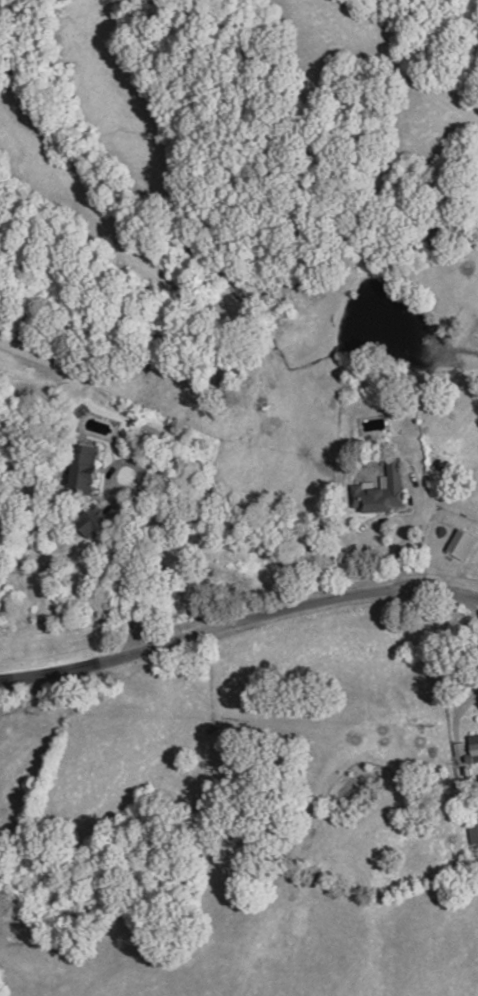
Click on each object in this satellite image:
building: (85, 470)
building: (383, 492)
road: (114, 512)
building: (94, 521)
road: (237, 617)
building: (475, 745)
building: (474, 833)

